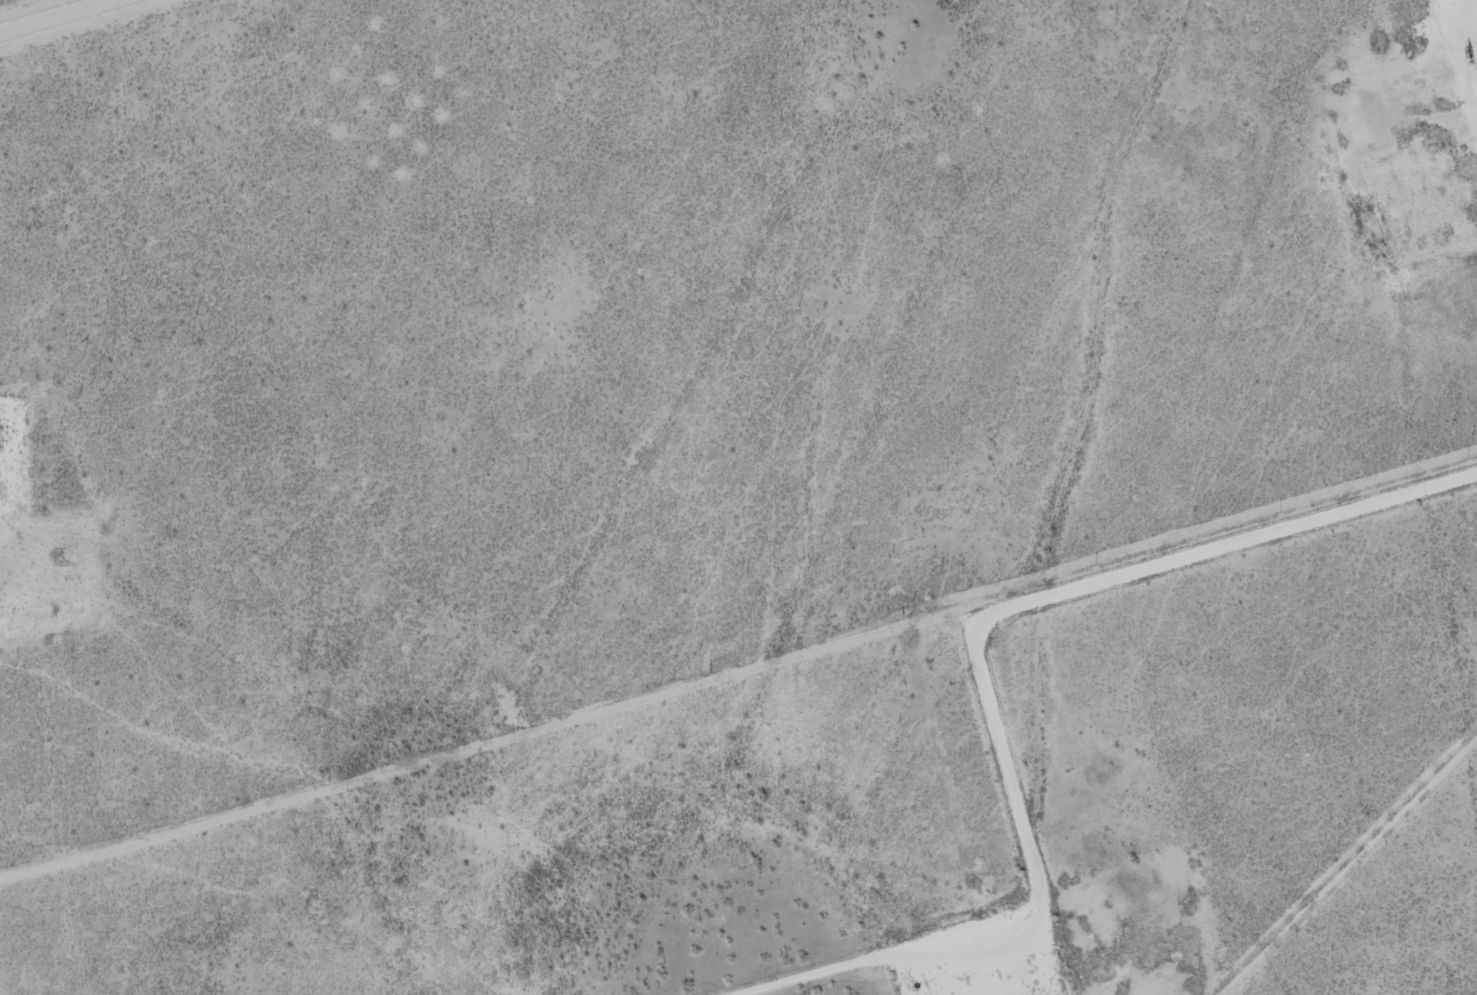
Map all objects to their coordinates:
petroleum well: (1466, 43)

